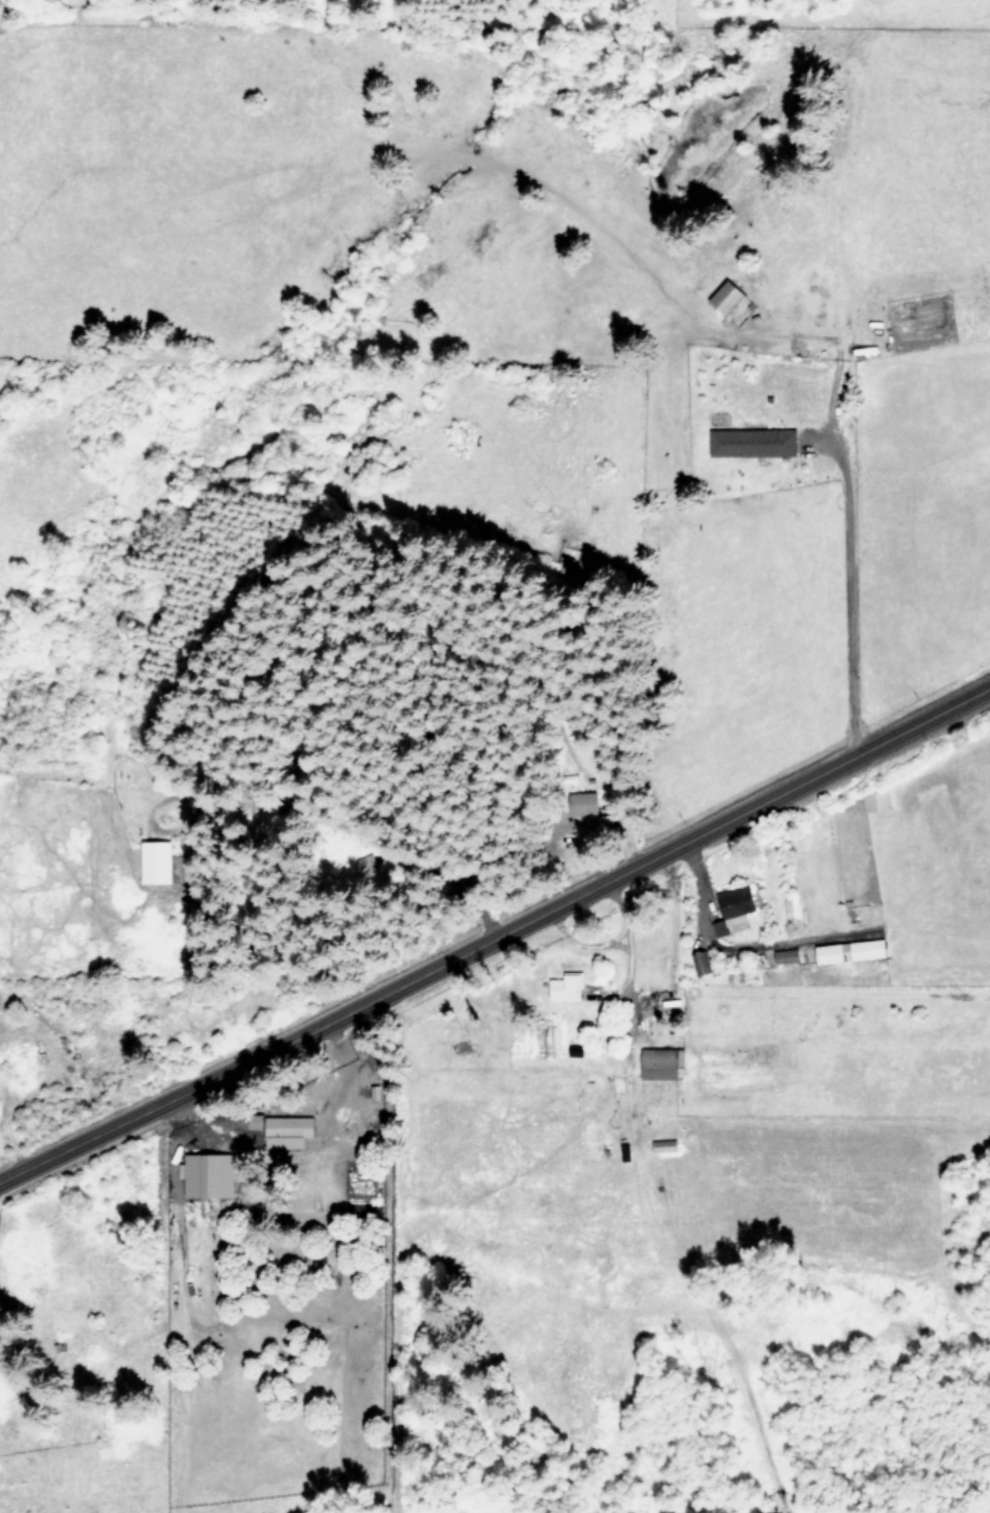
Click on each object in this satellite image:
building: (727, 295)
building: (754, 440)
road: (849, 586)
building: (876, 799)
building: (156, 861)
building: (737, 903)
building: (721, 927)
road: (495, 931)
building: (851, 950)
building: (786, 954)
building: (567, 986)
building: (256, 1120)
building: (288, 1130)
building: (209, 1174)

